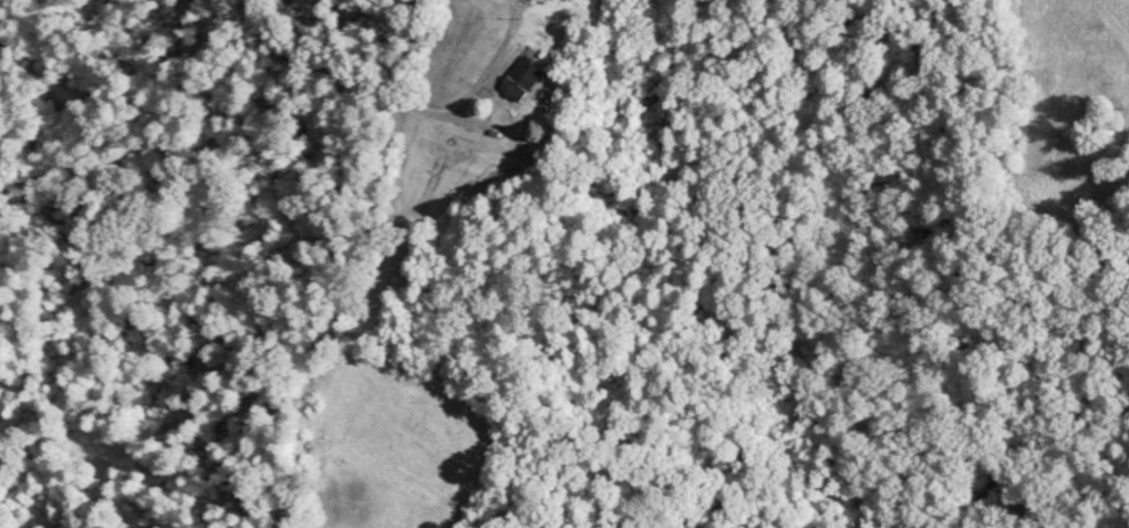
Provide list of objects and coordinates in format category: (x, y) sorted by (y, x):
road: (1084, 49)
building: (516, 80)
road: (354, 95)

